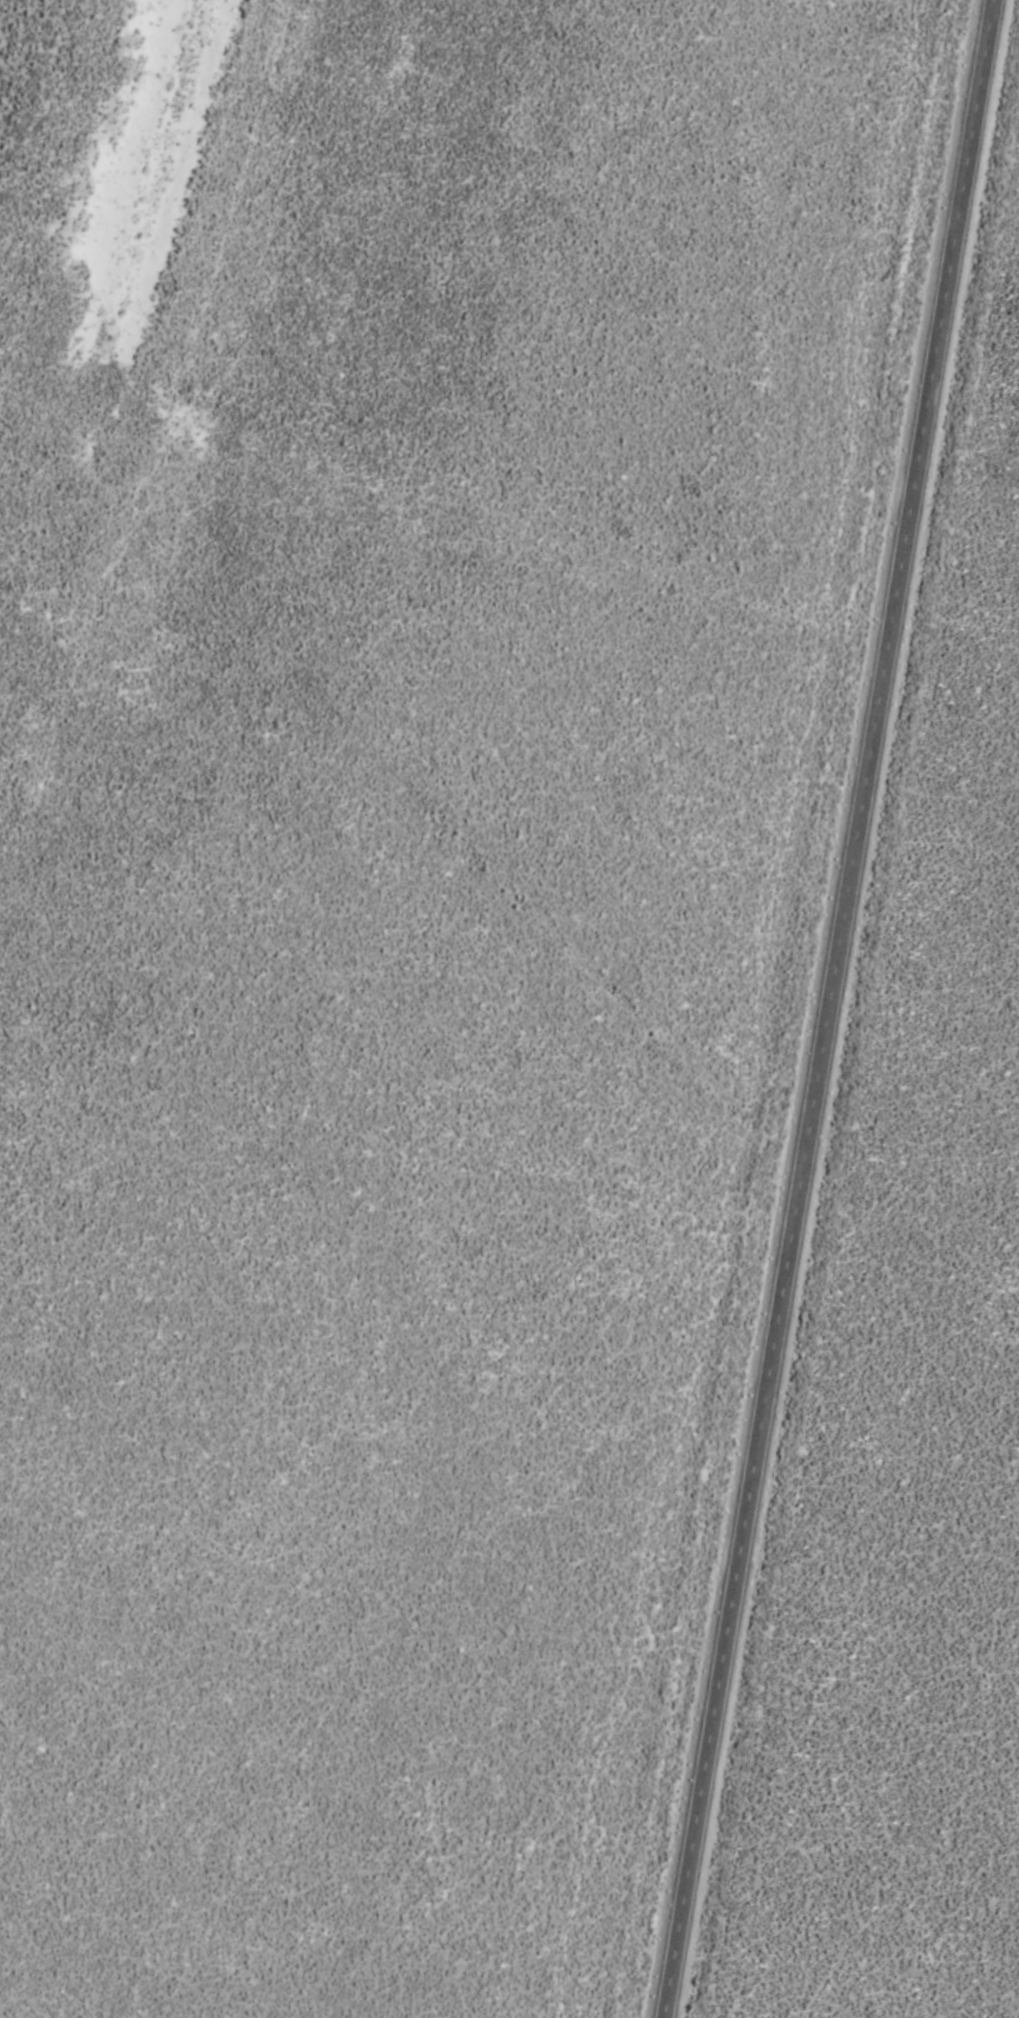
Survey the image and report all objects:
road: (827, 1009)

